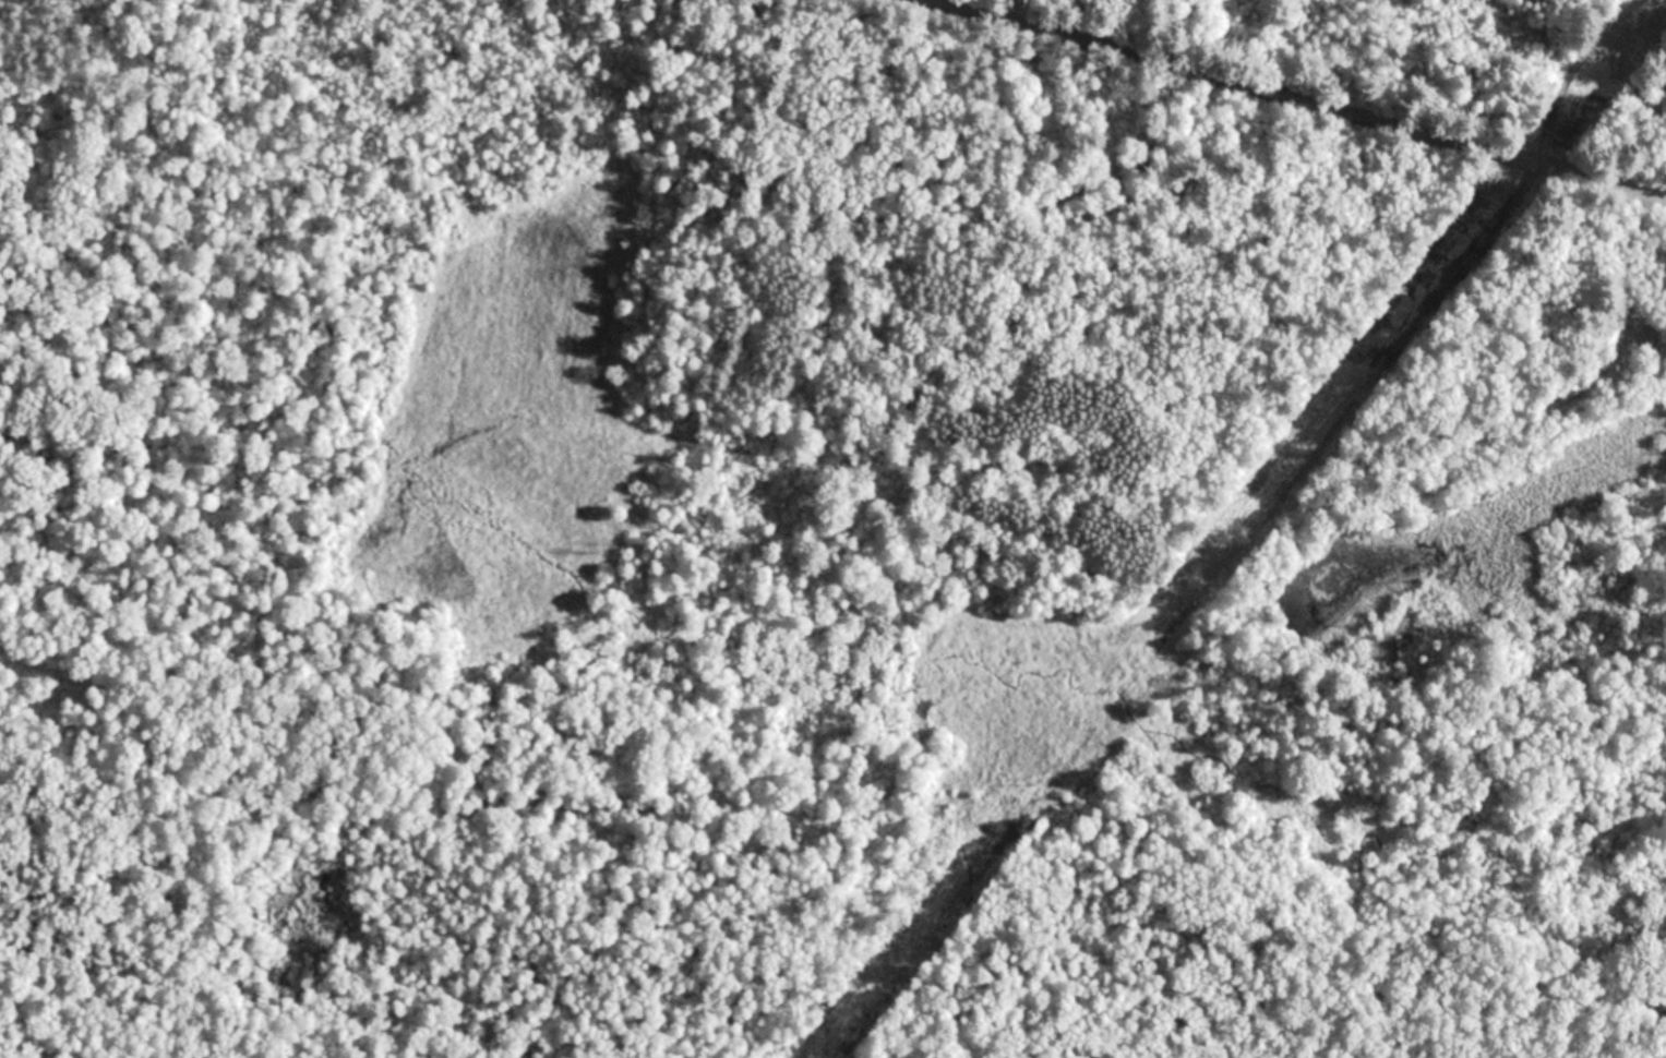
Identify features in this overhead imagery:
road: (1306, 101)
park: (832, 529)

